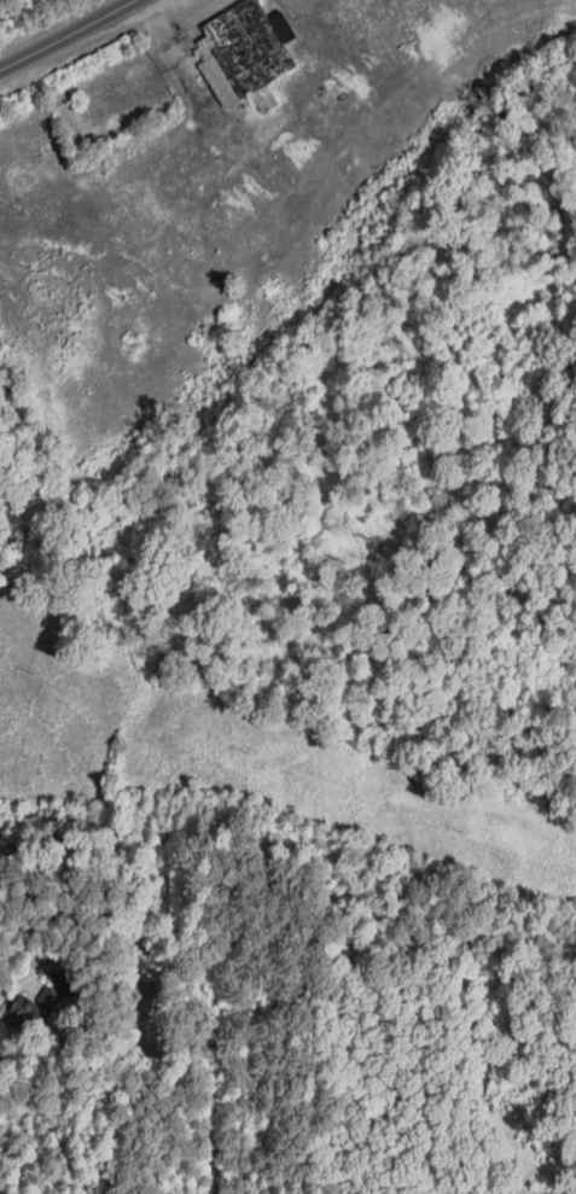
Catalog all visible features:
road: (65, 34)
building: (249, 53)
road: (29, 939)
building: (54, 996)

